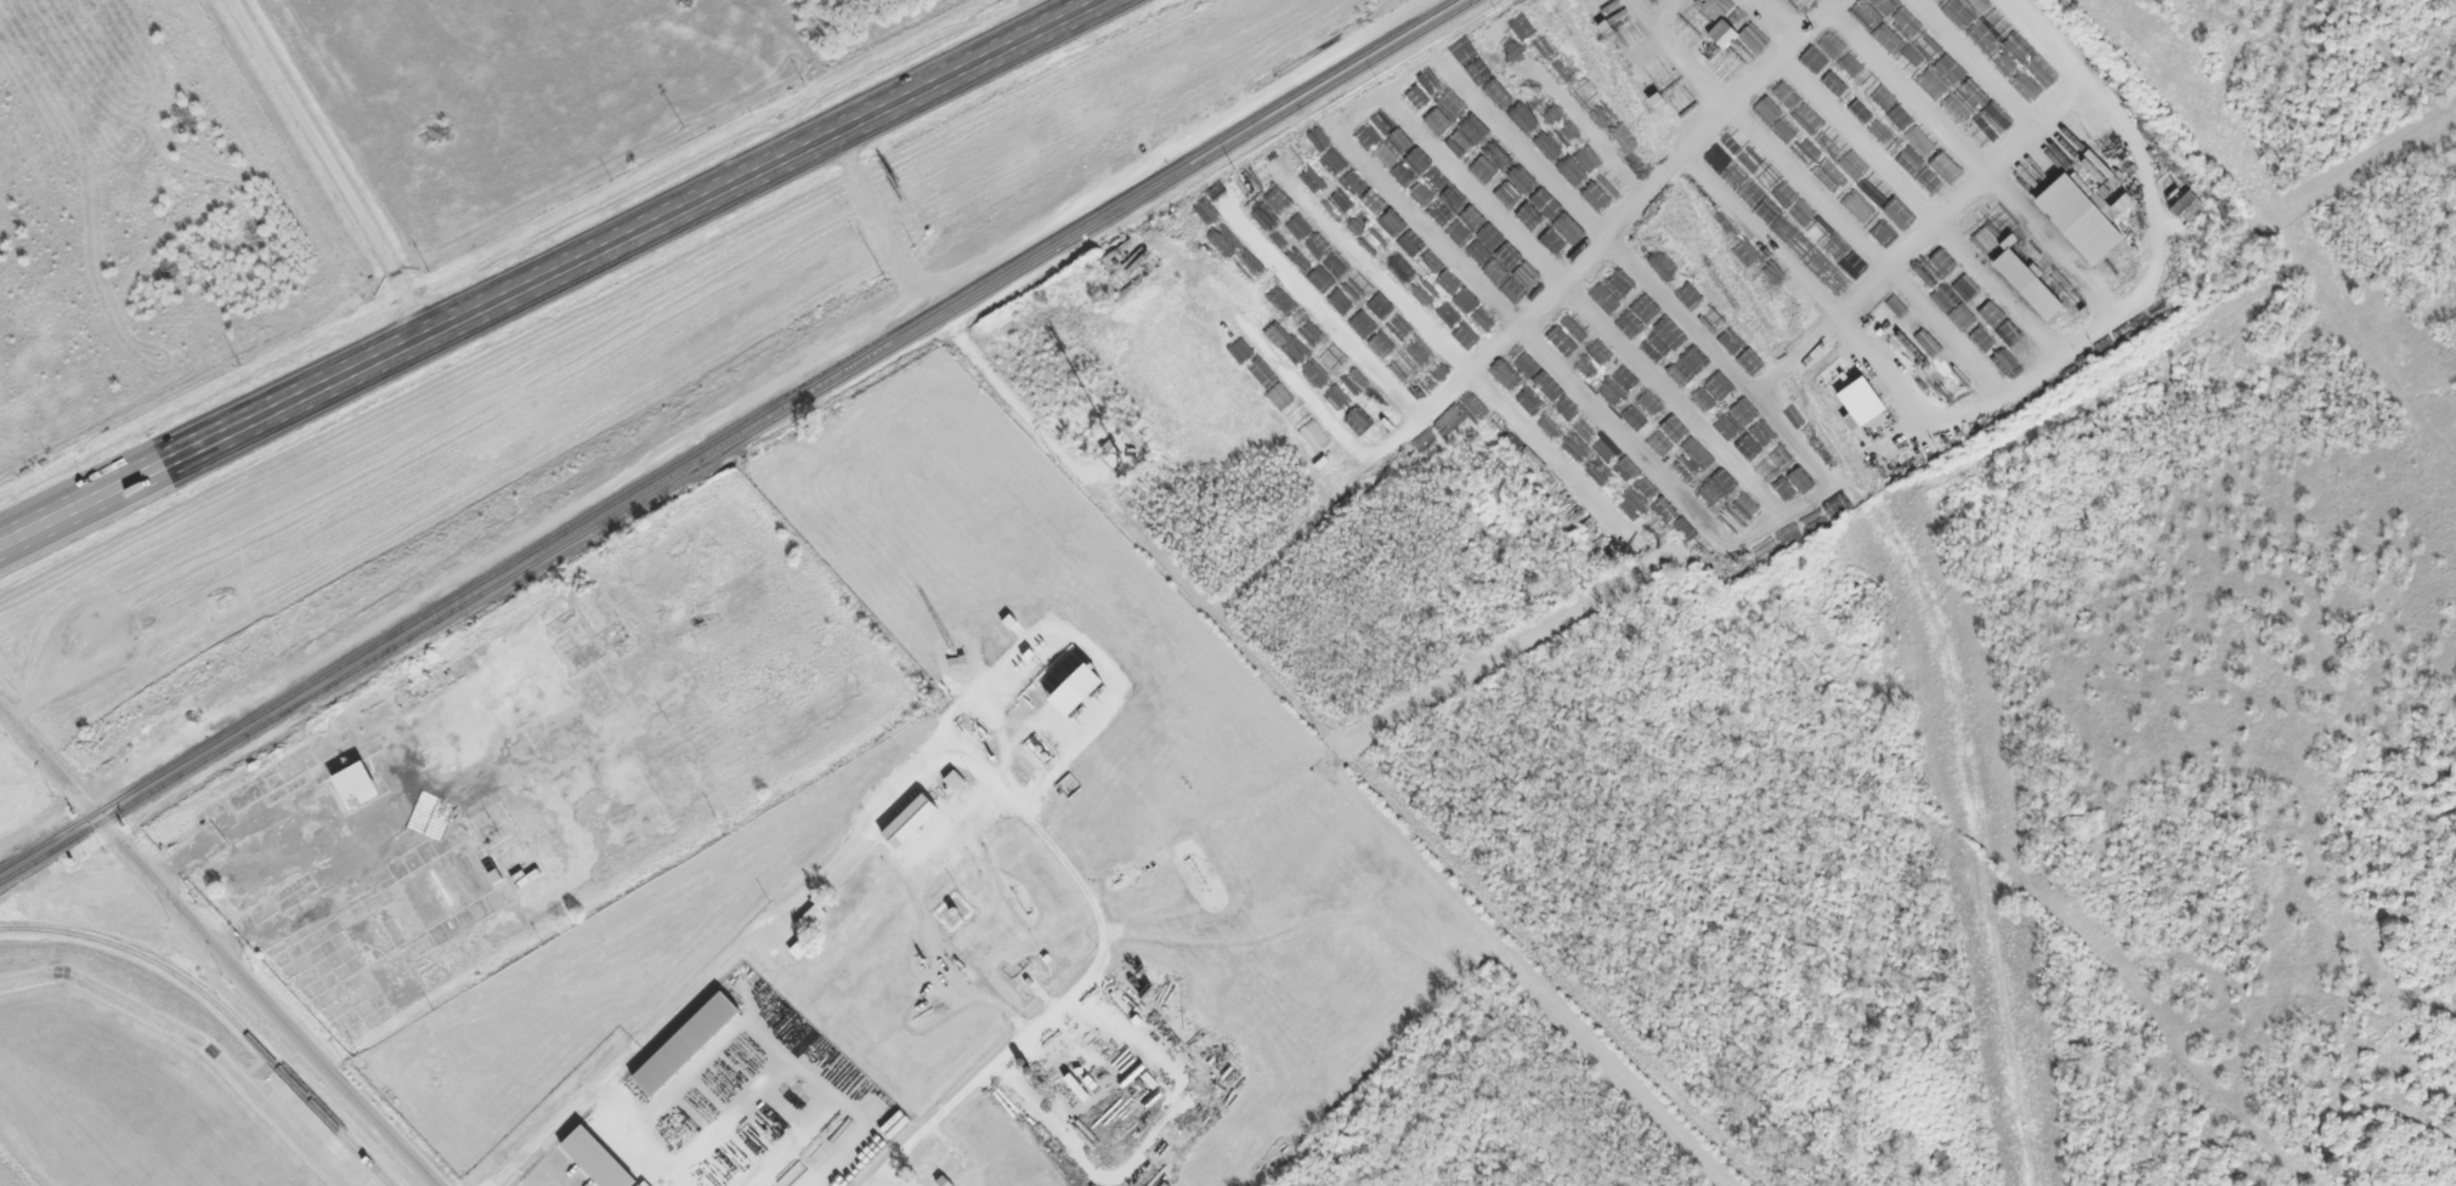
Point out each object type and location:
building: (1720, 34)
road: (2059, 53)
building: (1659, 75)
building: (1280, 160)
road: (328, 166)
building: (2185, 208)
building: (2075, 220)
road: (888, 223)
road: (550, 272)
building: (2024, 285)
road: (1011, 392)
building: (1858, 407)
building: (1312, 436)
railway: (731, 438)
building: (1066, 688)
building: (951, 781)
building: (363, 784)
building: (904, 822)
building: (807, 919)
road: (221, 946)
road: (193, 1040)
building: (680, 1044)
road: (587, 1072)
road: (932, 1106)
building: (590, 1159)
building: (640, 1184)

